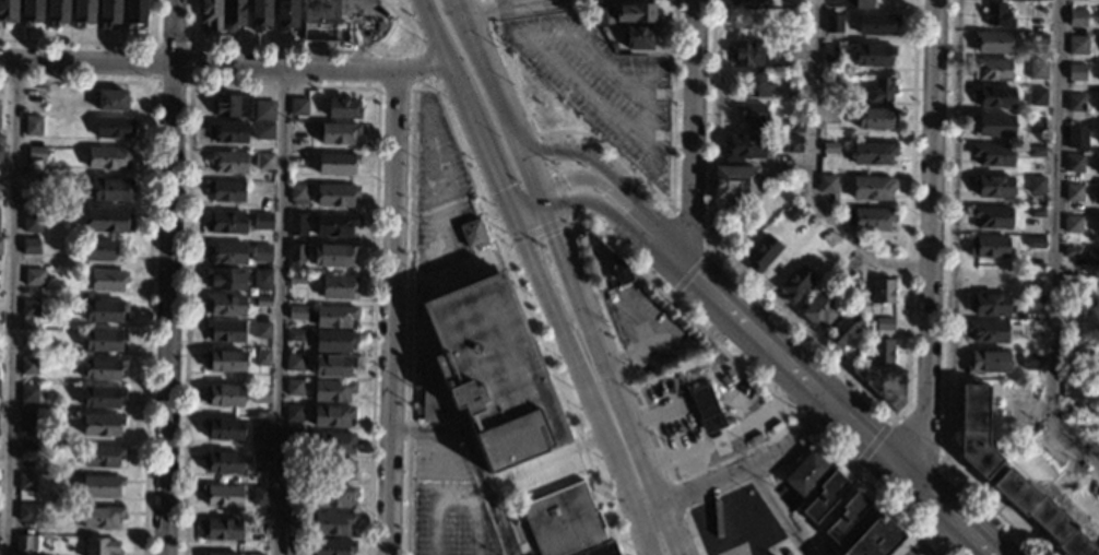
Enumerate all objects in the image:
building: (491, 0)
road: (460, 2)
building: (747, 2)
building: (863, 3)
road: (501, 4)
building: (8, 11)
building: (321, 11)
building: (31, 12)
building: (56, 12)
building: (82, 13)
building: (108, 13)
building: (210, 13)
building: (635, 13)
building: (135, 14)
building: (232, 14)
building: (259, 14)
building: (286, 14)
building: (996, 15)
building: (602, 16)
building: (1076, 16)
building: (876, 23)
building: (832, 24)
road: (359, 32)
building: (638, 37)
building: (1038, 39)
building: (992, 42)
building: (1076, 45)
road: (441, 46)
building: (793, 50)
building: (746, 52)
building: (831, 52)
building: (872, 55)
road: (190, 63)
road: (416, 69)
building: (991, 69)
building: (1037, 69)
building: (1075, 72)
road: (489, 75)
building: (794, 79)
building: (834, 85)
building: (753, 87)
building: (881, 90)
building: (1037, 96)
building: (993, 97)
building: (34, 101)
building: (111, 101)
building: (1075, 103)
building: (225, 105)
building: (298, 106)
building: (343, 108)
building: (262, 109)
building: (755, 116)
building: (875, 118)
building: (33, 125)
building: (992, 126)
building: (793, 127)
building: (114, 128)
building: (226, 131)
building: (262, 131)
building: (338, 132)
road: (690, 132)
building: (1076, 137)
building: (0, 139)
building: (788, 143)
building: (746, 147)
building: (829, 147)
road: (485, 150)
building: (1036, 151)
building: (36, 153)
building: (872, 153)
building: (1, 154)
building: (991, 154)
building: (107, 157)
building: (264, 161)
building: (297, 161)
building: (226, 162)
building: (1073, 163)
building: (336, 164)
road: (602, 167)
road: (811, 168)
road: (530, 172)
building: (733, 181)
building: (32, 185)
building: (826, 185)
building: (1035, 185)
traffic signals: (567, 186)
traffic signals: (500, 187)
building: (992, 187)
building: (872, 188)
building: (109, 189)
building: (226, 191)
building: (1072, 191)
building: (297, 193)
building: (335, 194)
road: (603, 194)
building: (1098, 199)
road: (524, 202)
building: (791, 212)
building: (1036, 212)
building: (990, 217)
building: (872, 219)
building: (32, 220)
building: (108, 221)
building: (262, 221)
building: (225, 222)
building: (297, 224)
building: (1072, 224)
building: (334, 225)
building: (1098, 231)
building: (472, 232)
traffic signals: (555, 234)
road: (925, 243)
building: (1035, 243)
road: (1053, 243)
building: (0, 244)
building: (29, 246)
building: (988, 247)
building: (99, 249)
building: (1071, 251)
building: (226, 252)
building: (760, 252)
building: (261, 253)
building: (296, 253)
building: (333, 256)
building: (1092, 259)
building: (605, 262)
road: (568, 271)
building: (34, 276)
road: (167, 276)
building: (1033, 276)
building: (225, 279)
building: (296, 279)
building: (989, 279)
building: (108, 280)
building: (262, 280)
road: (540, 282)
building: (523, 284)
building: (794, 284)
building: (338, 286)
building: (882, 291)
building: (261, 302)
building: (1032, 303)
building: (225, 305)
building: (989, 305)
road: (11, 308)
building: (819, 308)
building: (28, 310)
building: (104, 310)
road: (279, 310)
road: (390, 311)
building: (296, 312)
building: (1071, 312)
building: (334, 317)
building: (884, 323)
building: (842, 328)
building: (1031, 329)
building: (224, 330)
building: (262, 330)
building: (985, 331)
building: (295, 335)
building: (103, 341)
building: (333, 341)
building: (881, 351)
building: (261, 357)
building: (224, 361)
building: (1030, 361)
building: (986, 362)
building: (295, 363)
building: (28, 366)
building: (333, 366)
building: (103, 369)
building: (487, 375)
building: (1068, 375)
building: (883, 383)
building: (295, 388)
building: (332, 390)
building: (27, 393)
building: (261, 394)
building: (224, 395)
building: (102, 397)
road: (824, 397)
building: (706, 409)
building: (293, 413)
road: (654, 415)
building: (331, 416)
building: (26, 424)
building: (102, 425)
road: (778, 425)
building: (223, 428)
building: (258, 430)
building: (974, 430)
road: (723, 433)
building: (293, 440)
building: (335, 442)
building: (26, 450)
building: (438, 452)
road: (624, 452)
building: (102, 454)
road: (472, 458)
building: (259, 461)
building: (223, 462)
road: (551, 462)
road: (745, 465)
road: (688, 467)
building: (294, 468)
building: (336, 470)
building: (461, 473)
building: (805, 473)
building: (26, 482)
building: (101, 486)
building: (292, 493)
building: (221, 495)
building: (259, 496)
building: (332, 496)
building: (823, 497)
road: (780, 509)
building: (28, 511)
building: (1042, 515)
building: (293, 517)
building: (99, 518)
building: (846, 518)
building: (562, 520)
building: (332, 523)
building: (258, 528)
building: (221, 529)
building: (874, 539)
road: (944, 539)
building: (24, 543)
building: (102, 546)
building: (333, 546)
building: (293, 547)
building: (600, 550)
building: (217, 554)
building: (255, 554)

